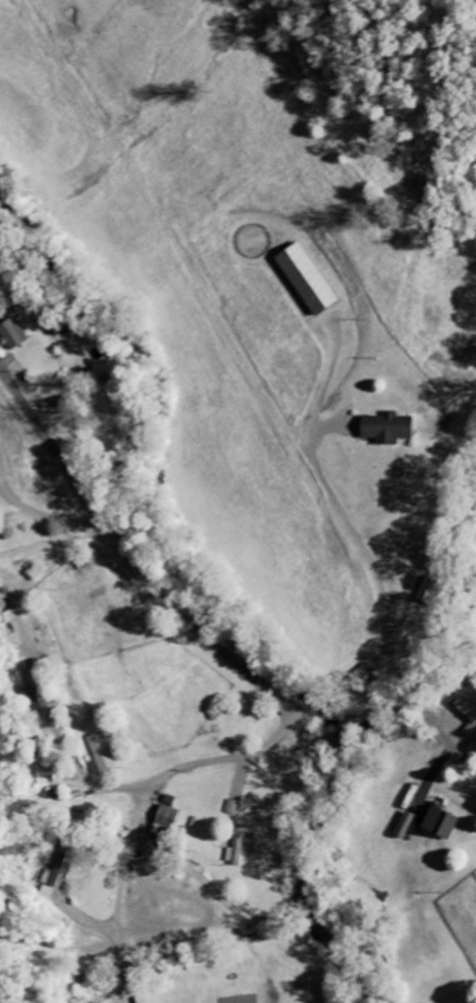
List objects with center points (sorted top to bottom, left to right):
building: (305, 280)
building: (14, 335)
building: (387, 429)
road: (364, 551)
road: (131, 556)
building: (426, 589)
road: (73, 610)
building: (466, 706)
road: (402, 708)
building: (103, 752)
road: (215, 761)
road: (213, 813)
building: (166, 822)
building: (440, 823)
building: (403, 824)
building: (56, 872)

